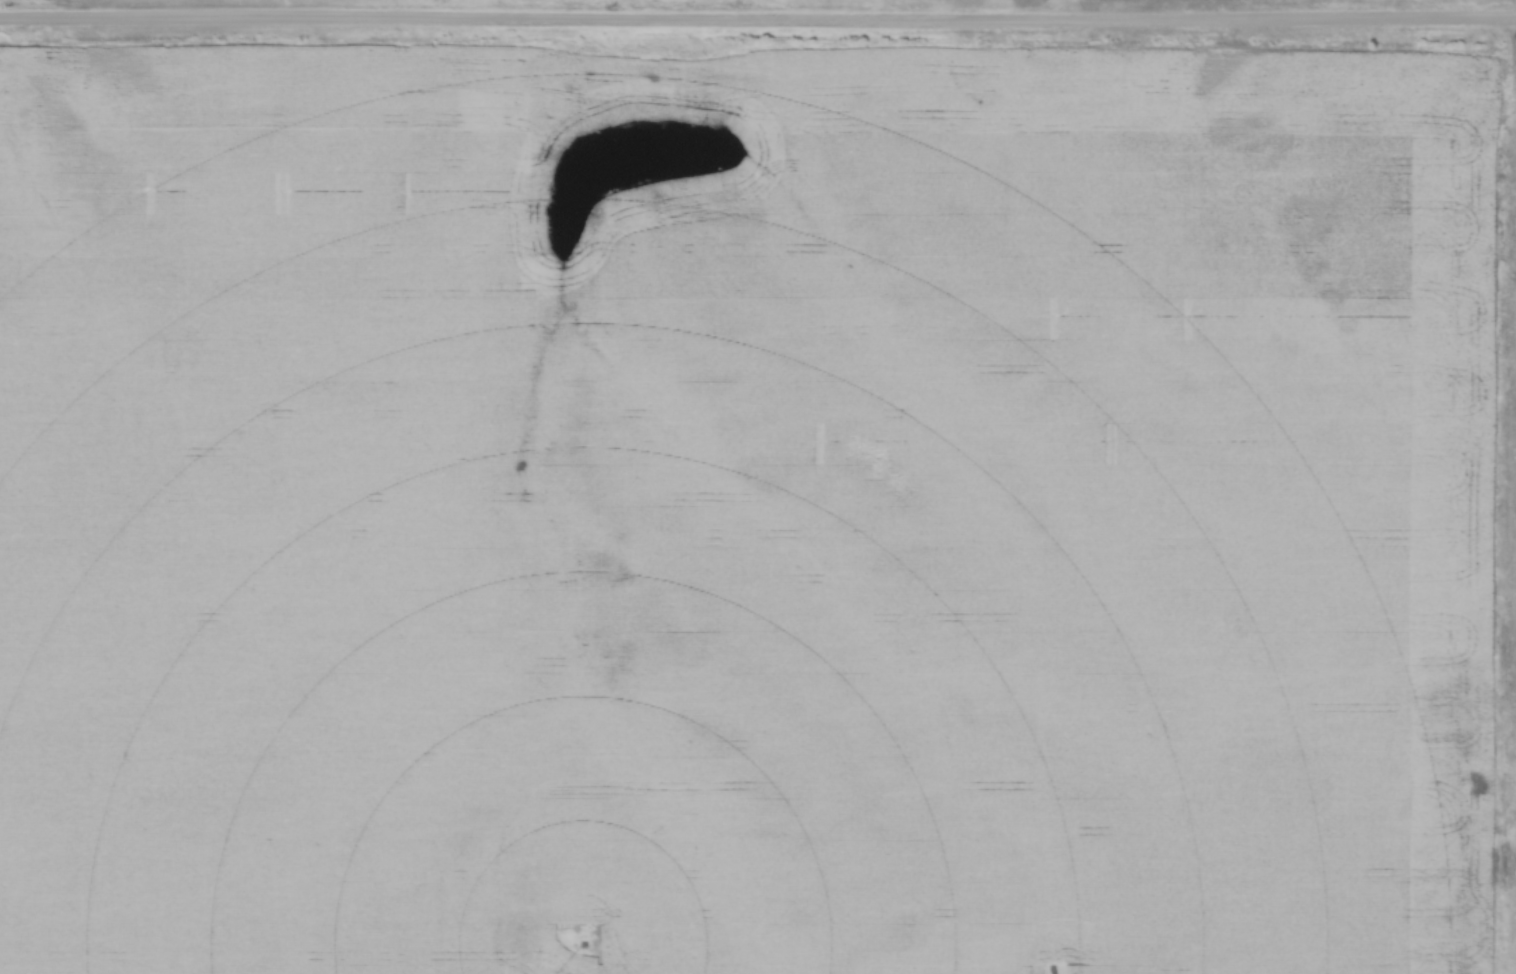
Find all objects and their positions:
road: (758, 26)
road: (1514, 486)

